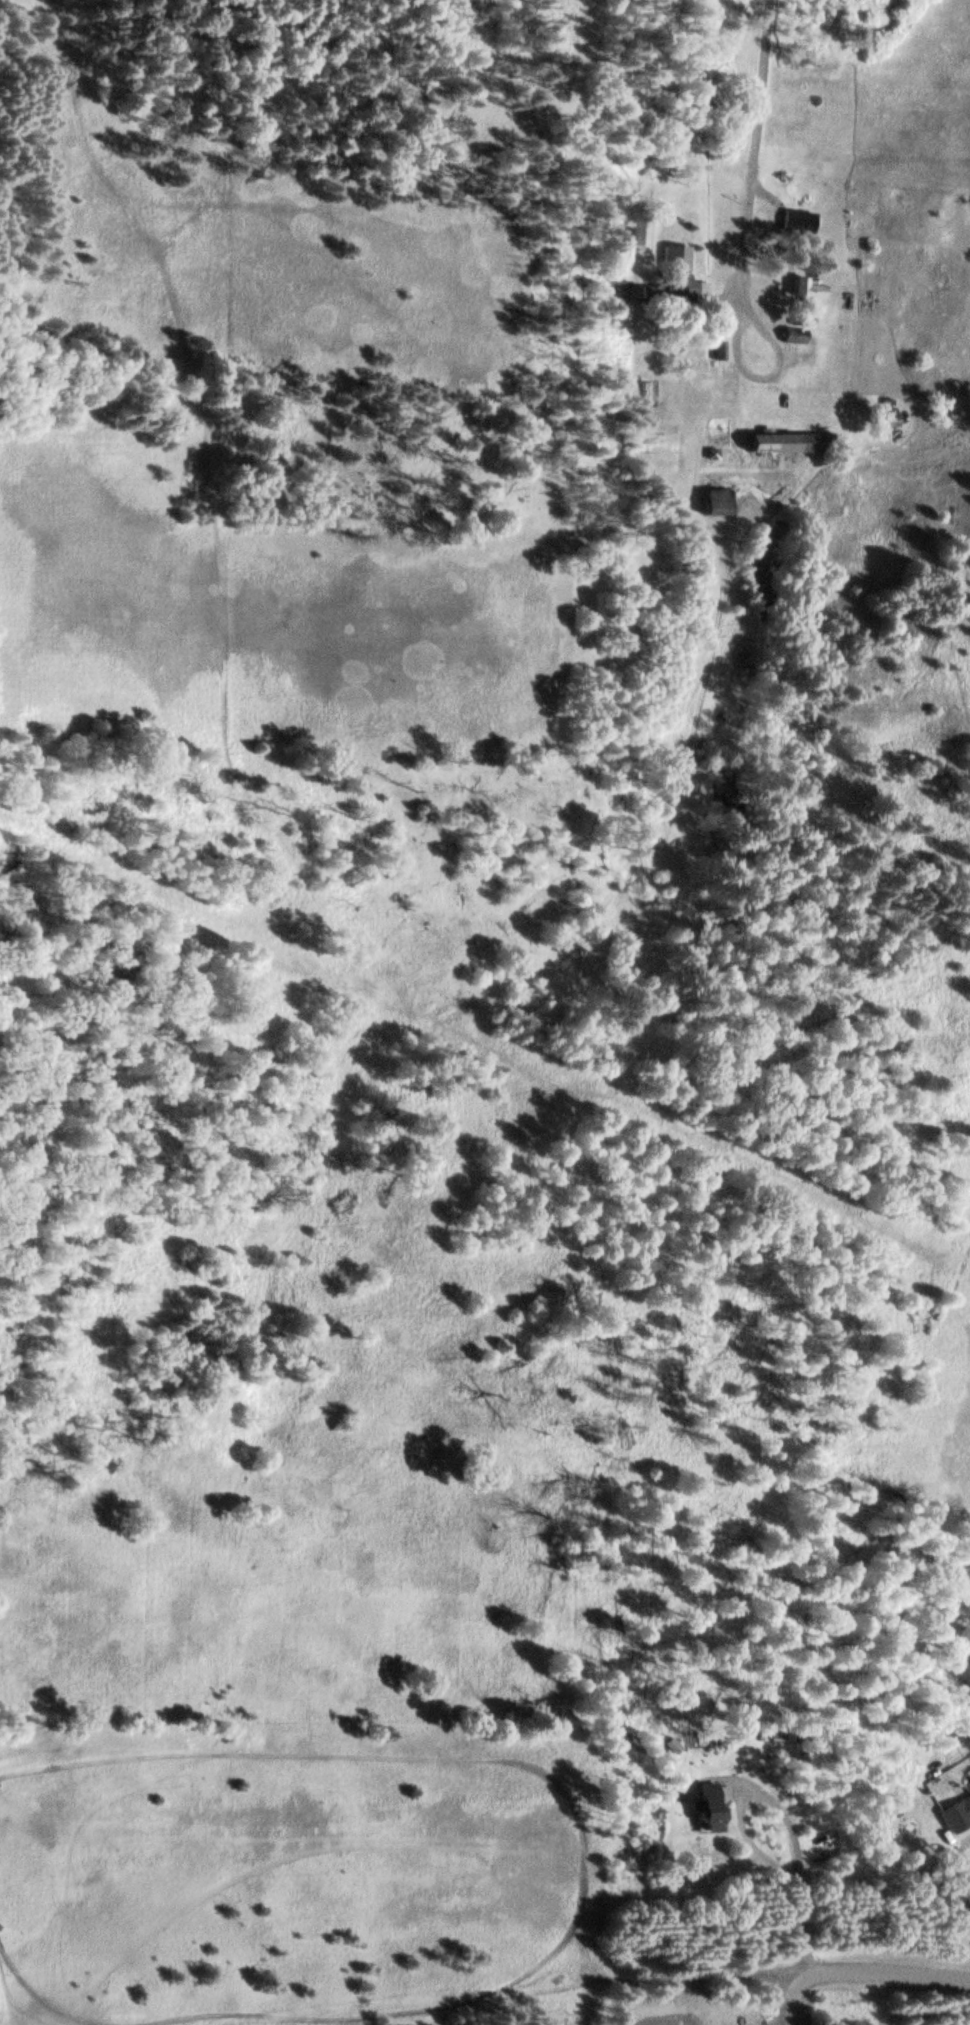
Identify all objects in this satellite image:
building: (797, 224)
building: (679, 278)
building: (806, 290)
building: (649, 414)
building: (772, 444)
building: (699, 1809)
building: (954, 1814)
road: (872, 1977)

